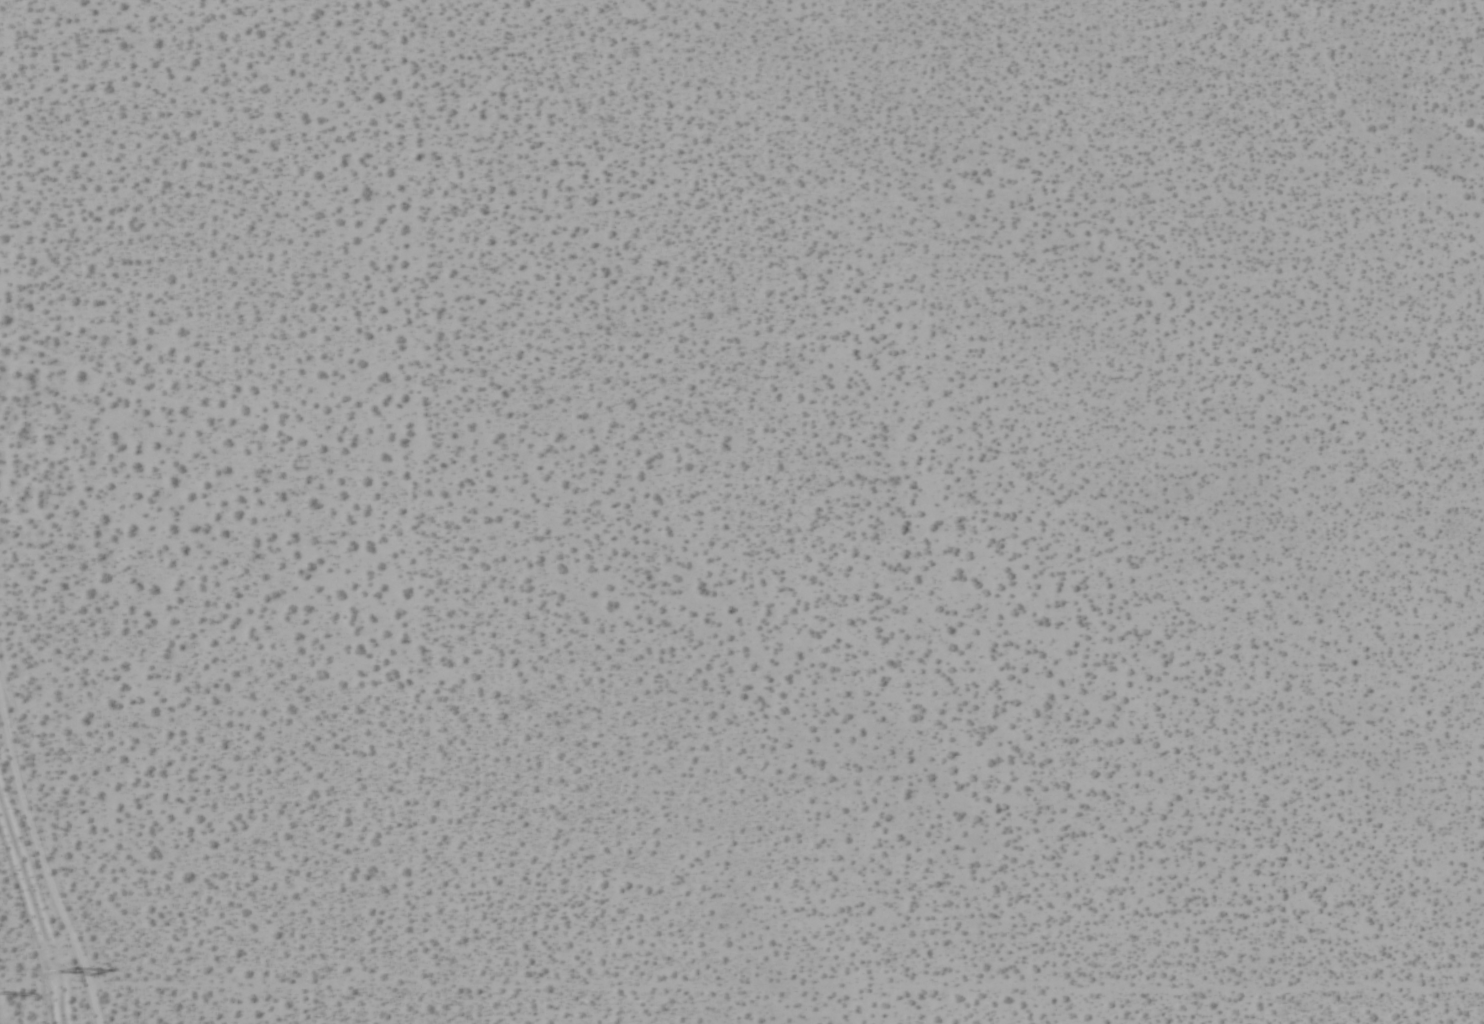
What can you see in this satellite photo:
power tower: (62, 968)

